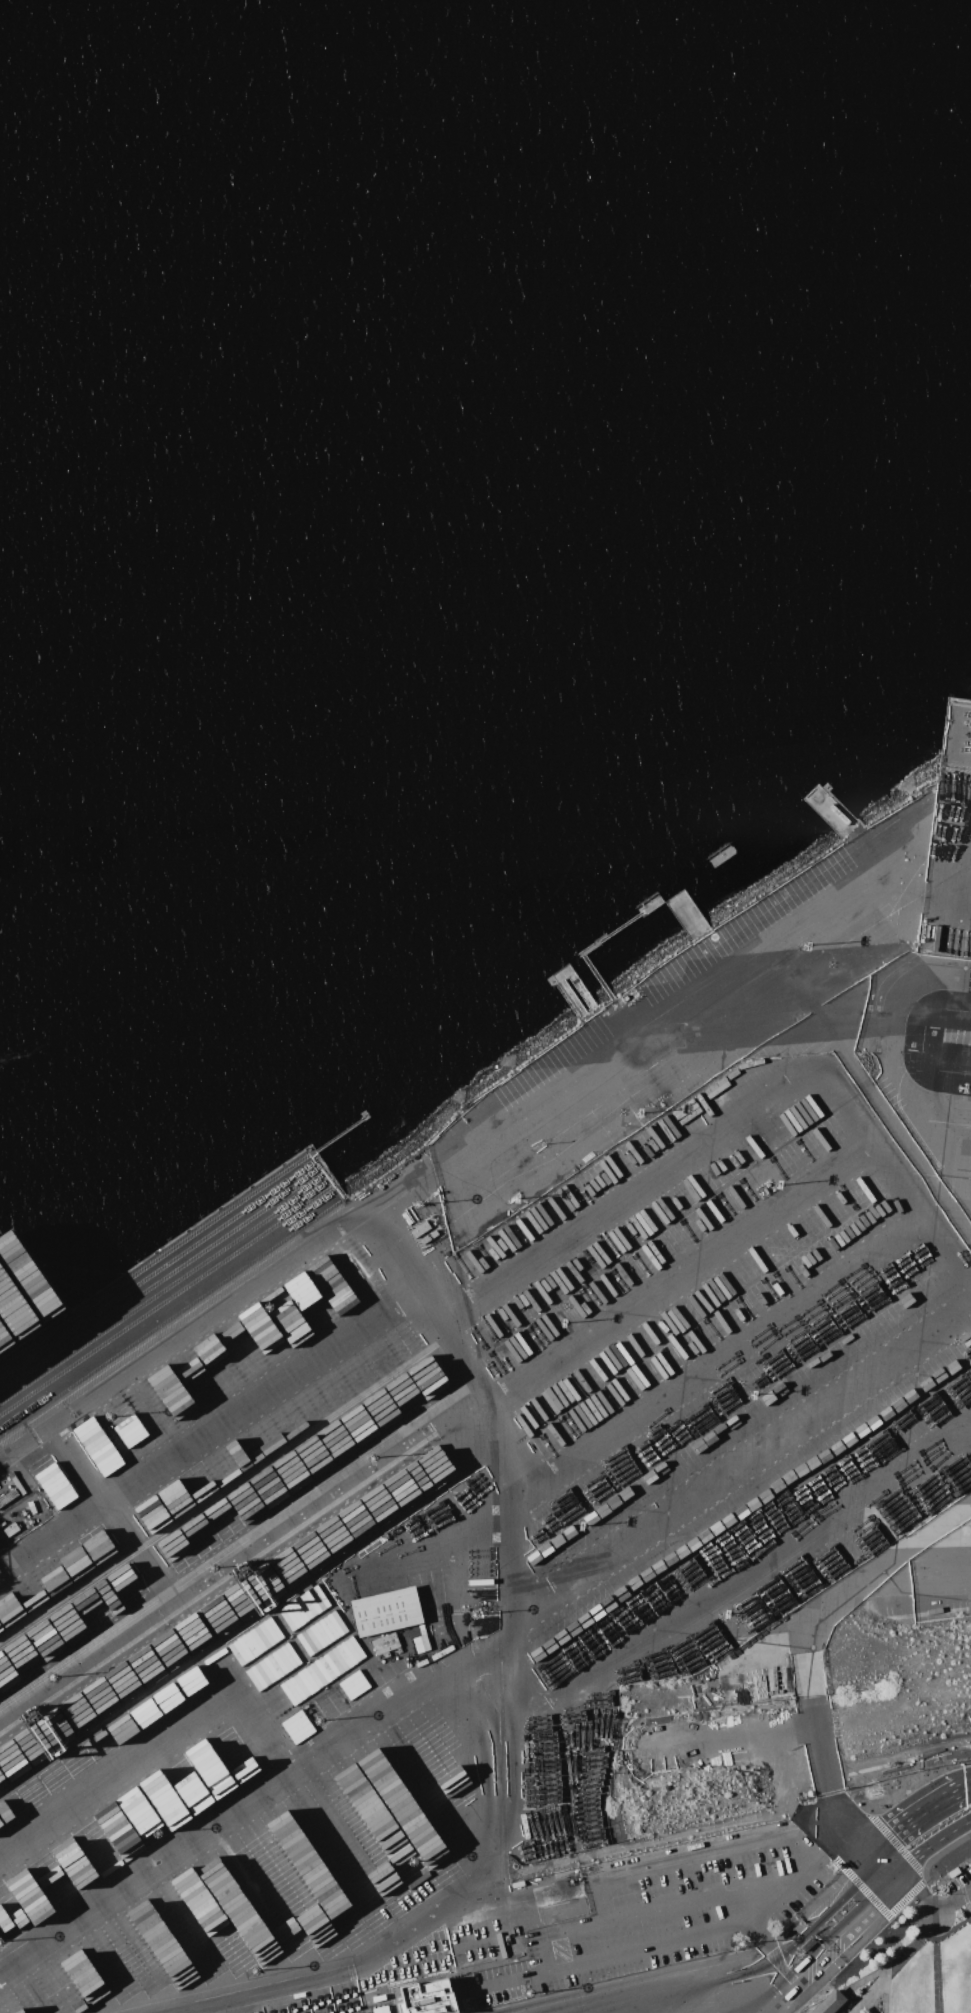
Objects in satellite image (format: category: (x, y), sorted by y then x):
road: (968, 779)
road: (931, 1005)
road: (622, 1046)
road: (885, 1055)
road: (733, 1121)
building: (420, 1229)
building: (427, 1238)
road: (399, 1253)
road: (720, 1358)
road: (208, 1424)
road: (435, 1434)
building: (96, 1446)
road: (744, 1461)
building: (51, 1481)
road: (753, 1570)
road: (951, 1571)
building: (385, 1612)
road: (468, 1674)
road: (968, 1786)
road: (919, 1816)
road: (951, 1832)
road: (913, 1857)
road: (701, 1859)
road: (885, 1860)
parking lot: (962, 1891)
road: (779, 1897)
road: (702, 1899)
building: (566, 1906)
road: (930, 1907)
road: (796, 1920)
road: (928, 1926)
road: (553, 1932)
road: (821, 1942)
road: (628, 1952)
road: (905, 1953)
park: (913, 1960)
building: (475, 1961)
park: (913, 1962)
road: (936, 1976)
road: (856, 1987)
road: (885, 1992)
road: (651, 1997)
building: (427, 1998)
building: (829, 2002)
building: (379, 2009)
building: (18, 2011)

